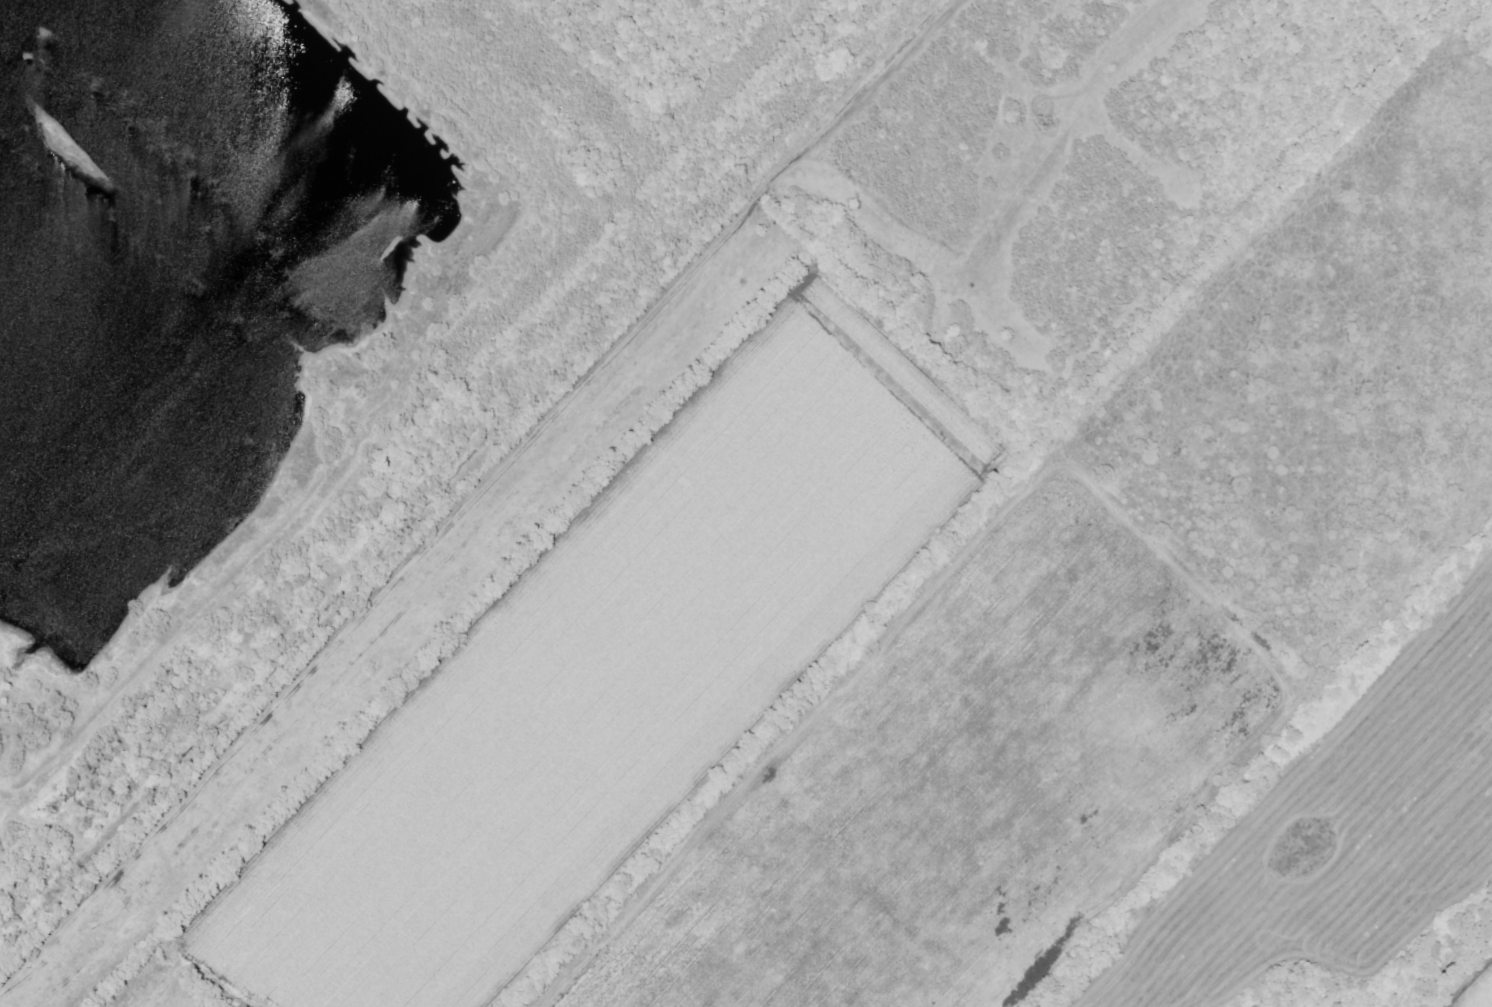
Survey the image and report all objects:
road: (278, 108)
road: (463, 494)
road: (275, 544)
crop: (1111, 617)
crop: (625, 673)
road: (16, 795)

